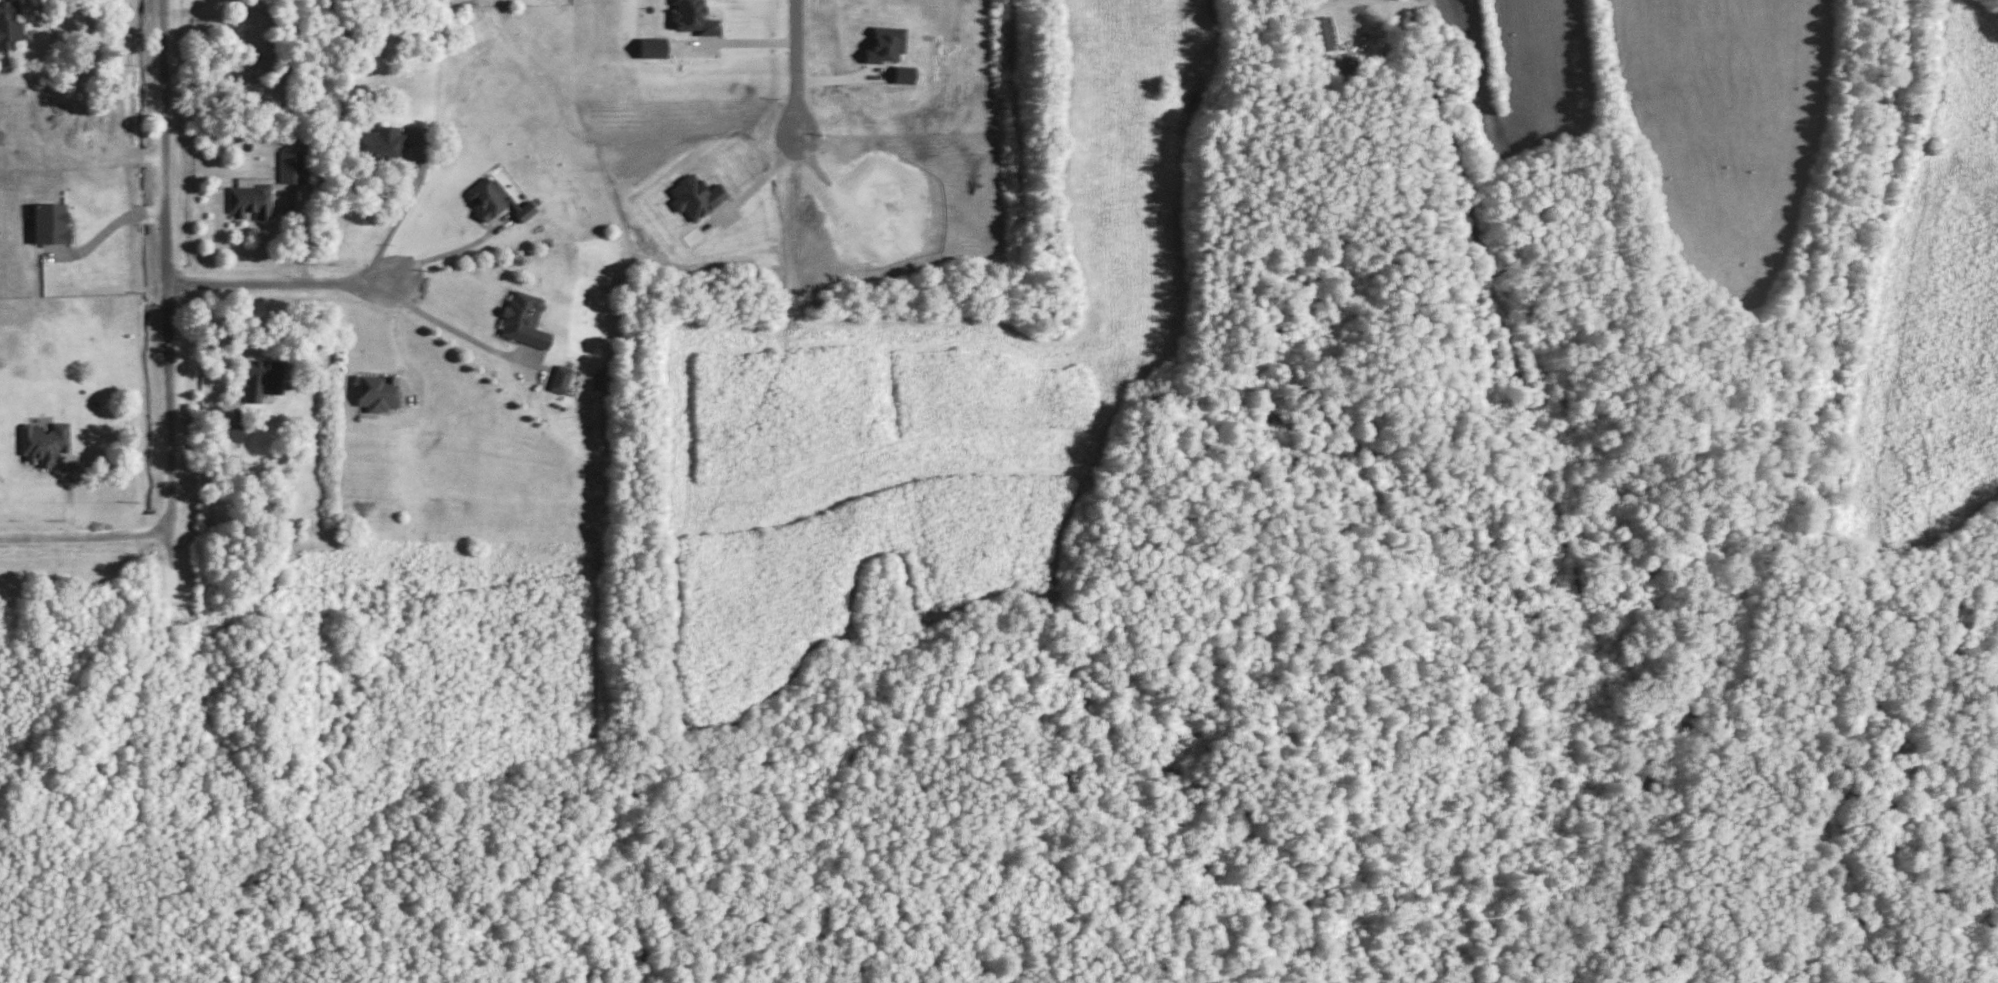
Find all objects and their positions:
building: (692, 17)
building: (10, 25)
building: (1322, 32)
building: (885, 44)
building: (651, 46)
road: (794, 69)
building: (902, 73)
building: (378, 143)
building: (290, 165)
road: (762, 176)
building: (695, 196)
building: (250, 197)
building: (496, 199)
road: (396, 215)
building: (51, 222)
road: (108, 227)
road: (442, 252)
road: (166, 279)
road: (278, 282)
building: (523, 319)
road: (454, 328)
road: (393, 334)
building: (263, 378)
building: (560, 378)
building: (377, 391)
building: (230, 432)
building: (43, 441)
road: (87, 534)

